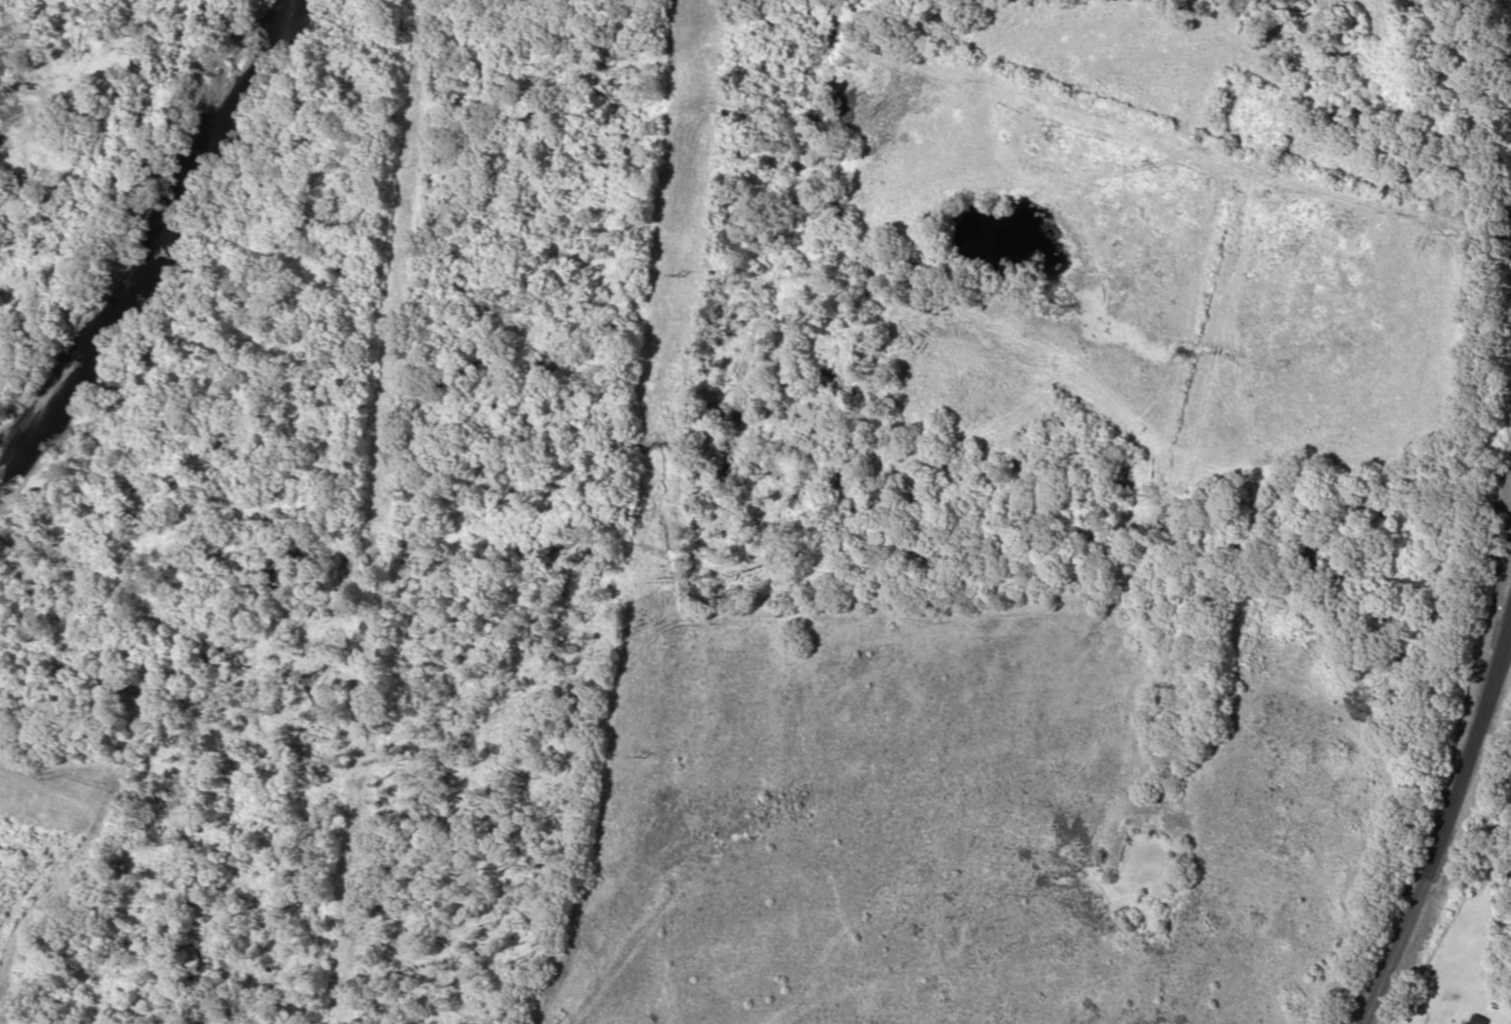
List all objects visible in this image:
road: (63, 90)
road: (1446, 841)
building: (1480, 1020)

